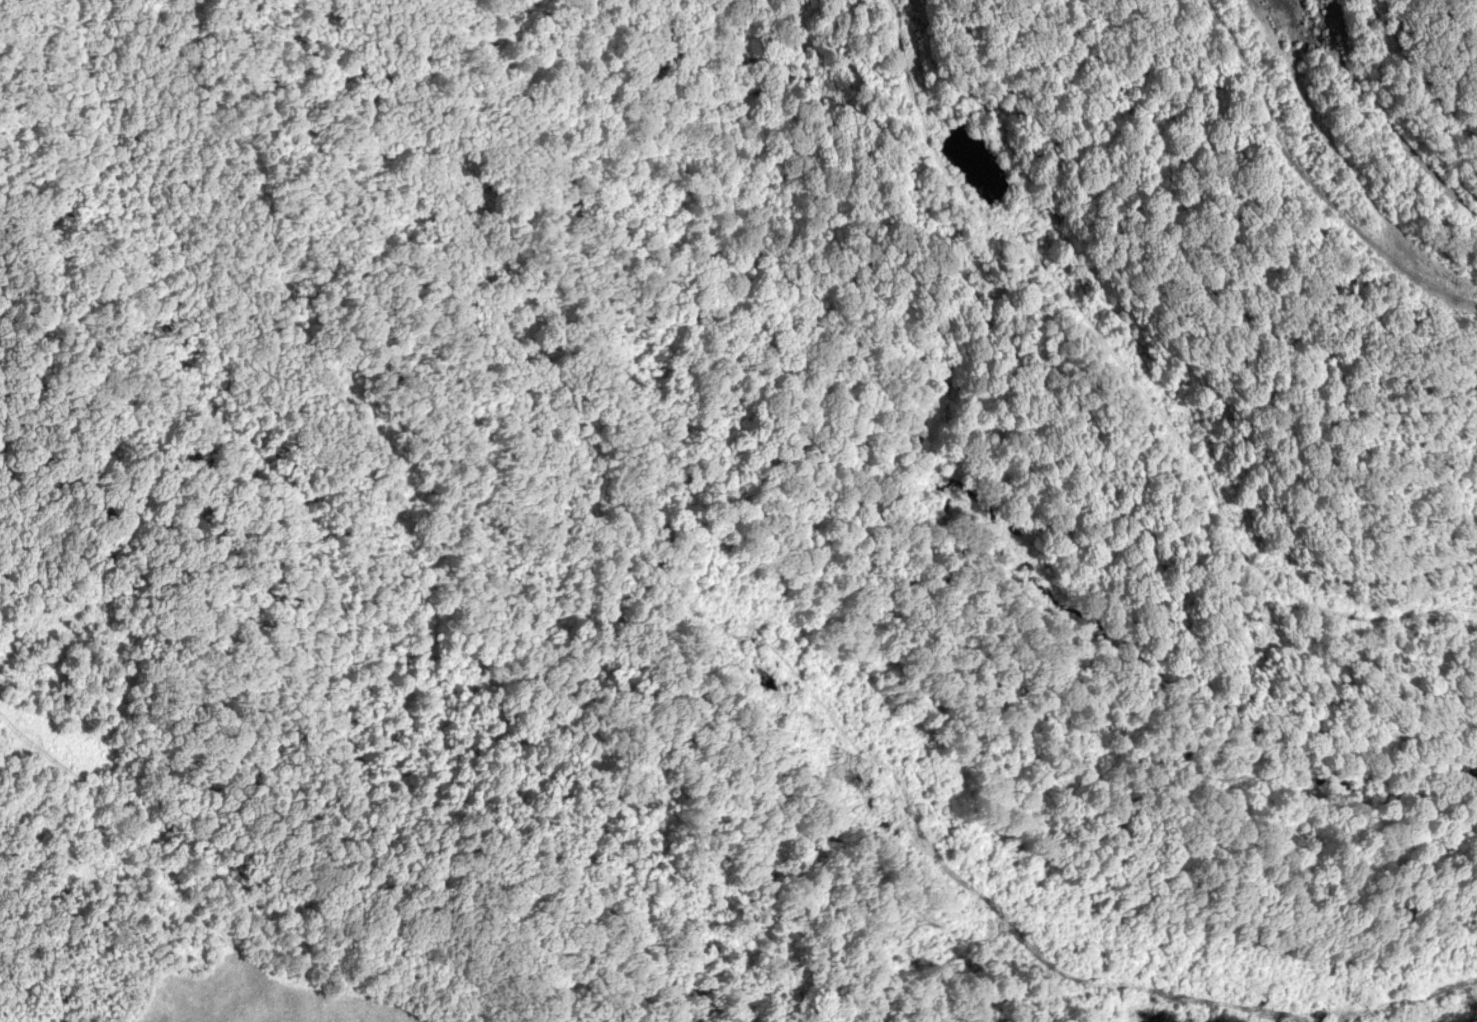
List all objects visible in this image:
road: (1307, 179)
road: (796, 679)

